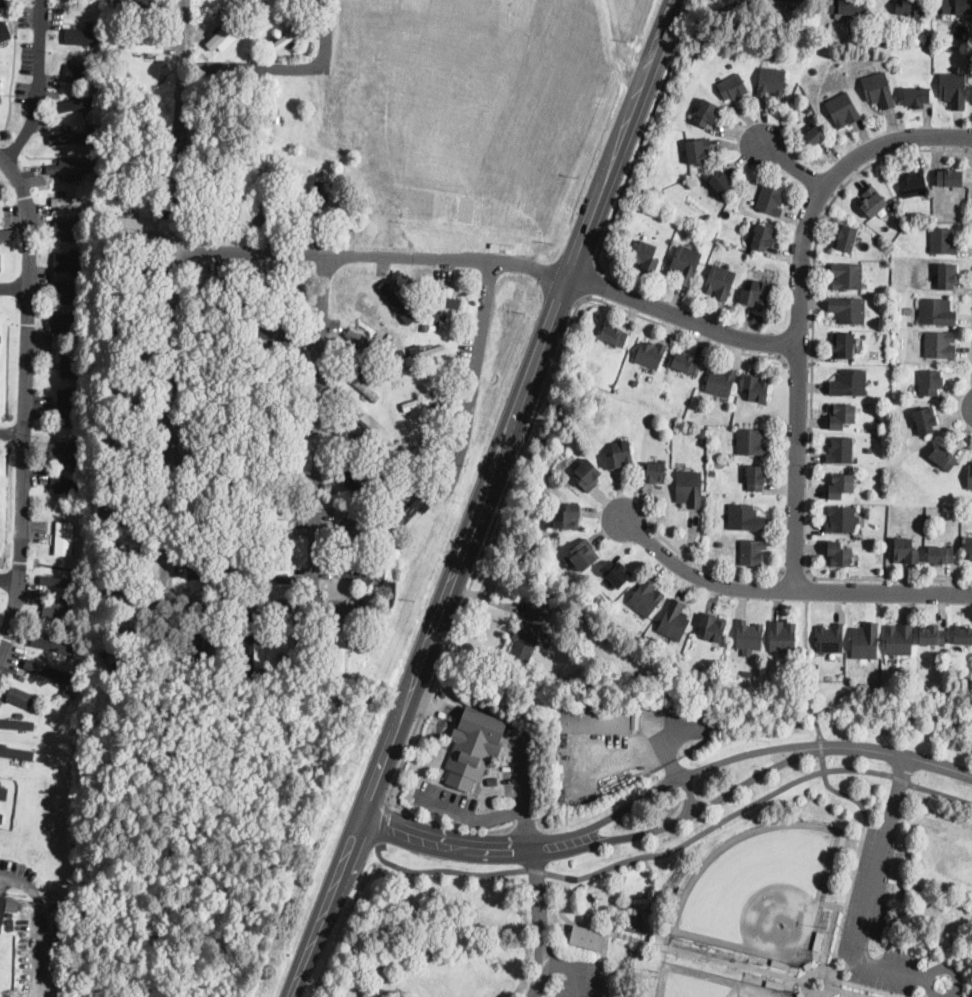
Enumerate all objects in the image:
building: (797, 1)
building: (3, 2)
building: (82, 3)
building: (142, 4)
building: (249, 5)
building: (849, 7)
building: (910, 7)
building: (957, 7)
building: (267, 12)
building: (250, 23)
building: (5, 29)
building: (226, 33)
building: (81, 35)
building: (927, 40)
building: (284, 41)
road: (659, 42)
road: (614, 46)
building: (144, 48)
building: (96, 56)
building: (75, 62)
building: (120, 65)
road: (290, 70)
building: (81, 73)
building: (771, 82)
road: (39, 84)
building: (733, 88)
building: (879, 90)
building: (954, 90)
building: (916, 98)
building: (75, 103)
building: (842, 110)
building: (93, 113)
building: (706, 114)
building: (276, 117)
building: (89, 125)
building: (815, 136)
building: (71, 137)
building: (197, 145)
building: (699, 150)
road: (632, 164)
road: (795, 165)
building: (67, 168)
building: (262, 176)
building: (949, 178)
building: (721, 181)
building: (688, 184)
building: (914, 184)
building: (341, 187)
building: (1, 190)
building: (81, 192)
building: (345, 196)
building: (118, 198)
building: (770, 200)
building: (69, 201)
building: (872, 202)
building: (316, 205)
building: (271, 209)
building: (73, 219)
building: (132, 222)
building: (899, 222)
building: (69, 230)
building: (6, 234)
building: (763, 237)
building: (846, 239)
building: (942, 241)
road: (375, 255)
building: (647, 257)
building: (64, 260)
building: (0, 263)
building: (684, 265)
building: (133, 268)
building: (846, 276)
building: (947, 276)
road: (590, 281)
building: (719, 282)
building: (76, 283)
building: (277, 287)
road: (14, 289)
building: (235, 292)
building: (756, 293)
building: (67, 294)
building: (221, 295)
building: (268, 299)
building: (397, 304)
road: (800, 304)
building: (445, 309)
building: (848, 310)
building: (908, 311)
building: (936, 312)
building: (256, 314)
building: (129, 315)
building: (233, 315)
road: (682, 318)
building: (0, 321)
building: (64, 321)
building: (414, 325)
building: (405, 326)
building: (425, 327)
building: (432, 327)
building: (215, 331)
building: (614, 335)
building: (280, 338)
building: (365, 343)
building: (844, 345)
building: (939, 345)
building: (400, 354)
building: (651, 354)
building: (425, 355)
building: (68, 360)
building: (129, 363)
building: (685, 364)
road: (800, 365)
road: (478, 374)
building: (274, 381)
building: (215, 382)
building: (636, 382)
building: (721, 382)
building: (930, 382)
building: (849, 383)
building: (362, 385)
road: (813, 388)
building: (757, 389)
building: (111, 390)
building: (233, 394)
road: (178, 399)
building: (423, 401)
building: (69, 406)
road: (24, 407)
building: (128, 410)
building: (841, 417)
building: (925, 420)
building: (665, 422)
building: (213, 426)
building: (272, 430)
building: (113, 432)
road: (11, 433)
road: (321, 433)
building: (702, 434)
building: (363, 436)
building: (81, 439)
building: (407, 442)
building: (751, 442)
building: (115, 443)
road: (524, 446)
building: (869, 449)
building: (420, 450)
building: (840, 451)
building: (65, 453)
building: (620, 455)
building: (128, 456)
building: (943, 458)
building: (382, 462)
building: (375, 468)
building: (394, 470)
building: (713, 472)
building: (656, 473)
building: (216, 474)
building: (374, 475)
building: (587, 475)
building: (271, 477)
building: (396, 478)
building: (755, 478)
building: (969, 478)
building: (362, 481)
building: (113, 485)
building: (63, 486)
building: (840, 486)
building: (226, 488)
building: (383, 488)
building: (689, 489)
building: (125, 505)
building: (224, 506)
building: (412, 509)
building: (566, 517)
building: (744, 518)
building: (841, 519)
building: (211, 520)
building: (269, 524)
building: (362, 533)
building: (64, 538)
building: (225, 539)
building: (233, 539)
road: (470, 541)
building: (721, 543)
building: (968, 548)
building: (365, 550)
building: (125, 552)
building: (752, 552)
building: (906, 552)
building: (247, 553)
building: (583, 555)
building: (839, 555)
building: (941, 555)
building: (208, 569)
building: (268, 571)
road: (711, 571)
building: (363, 573)
building: (616, 573)
road: (797, 576)
road: (10, 580)
building: (61, 582)
building: (230, 584)
building: (386, 586)
road: (786, 589)
building: (376, 597)
building: (122, 598)
building: (646, 598)
building: (74, 604)
building: (54, 611)
building: (608, 620)
building: (674, 620)
building: (712, 628)
building: (528, 632)
building: (748, 635)
building: (931, 635)
building: (962, 635)
building: (782, 637)
building: (830, 639)
building: (899, 640)
building: (865, 641)
building: (53, 644)
building: (124, 645)
building: (201, 647)
building: (298, 651)
building: (340, 651)
building: (249, 653)
building: (282, 661)
road: (805, 666)
building: (44, 670)
building: (326, 673)
building: (747, 675)
building: (253, 681)
building: (20, 697)
building: (37, 700)
building: (595, 723)
building: (17, 725)
building: (527, 737)
road: (821, 747)
building: (474, 748)
building: (17, 752)
road: (897, 754)
road: (692, 771)
building: (3, 793)
road: (688, 794)
road: (756, 801)
road: (704, 807)
road: (469, 817)
building: (1, 819)
road: (383, 822)
park: (667, 844)
road: (468, 846)
road: (859, 851)
road: (532, 852)
building: (39, 857)
road: (447, 870)
road: (536, 870)
park: (764, 891)
road: (872, 896)
building: (12, 906)
building: (2, 908)
building: (9, 915)
building: (9, 922)
building: (23, 928)
building: (23, 936)
building: (587, 938)
building: (818, 942)
road: (660, 944)
road: (558, 963)
road: (603, 964)
building: (780, 964)
building: (808, 967)
road: (940, 970)
park: (705, 984)
building: (775, 986)
road: (874, 990)
building: (801, 995)

